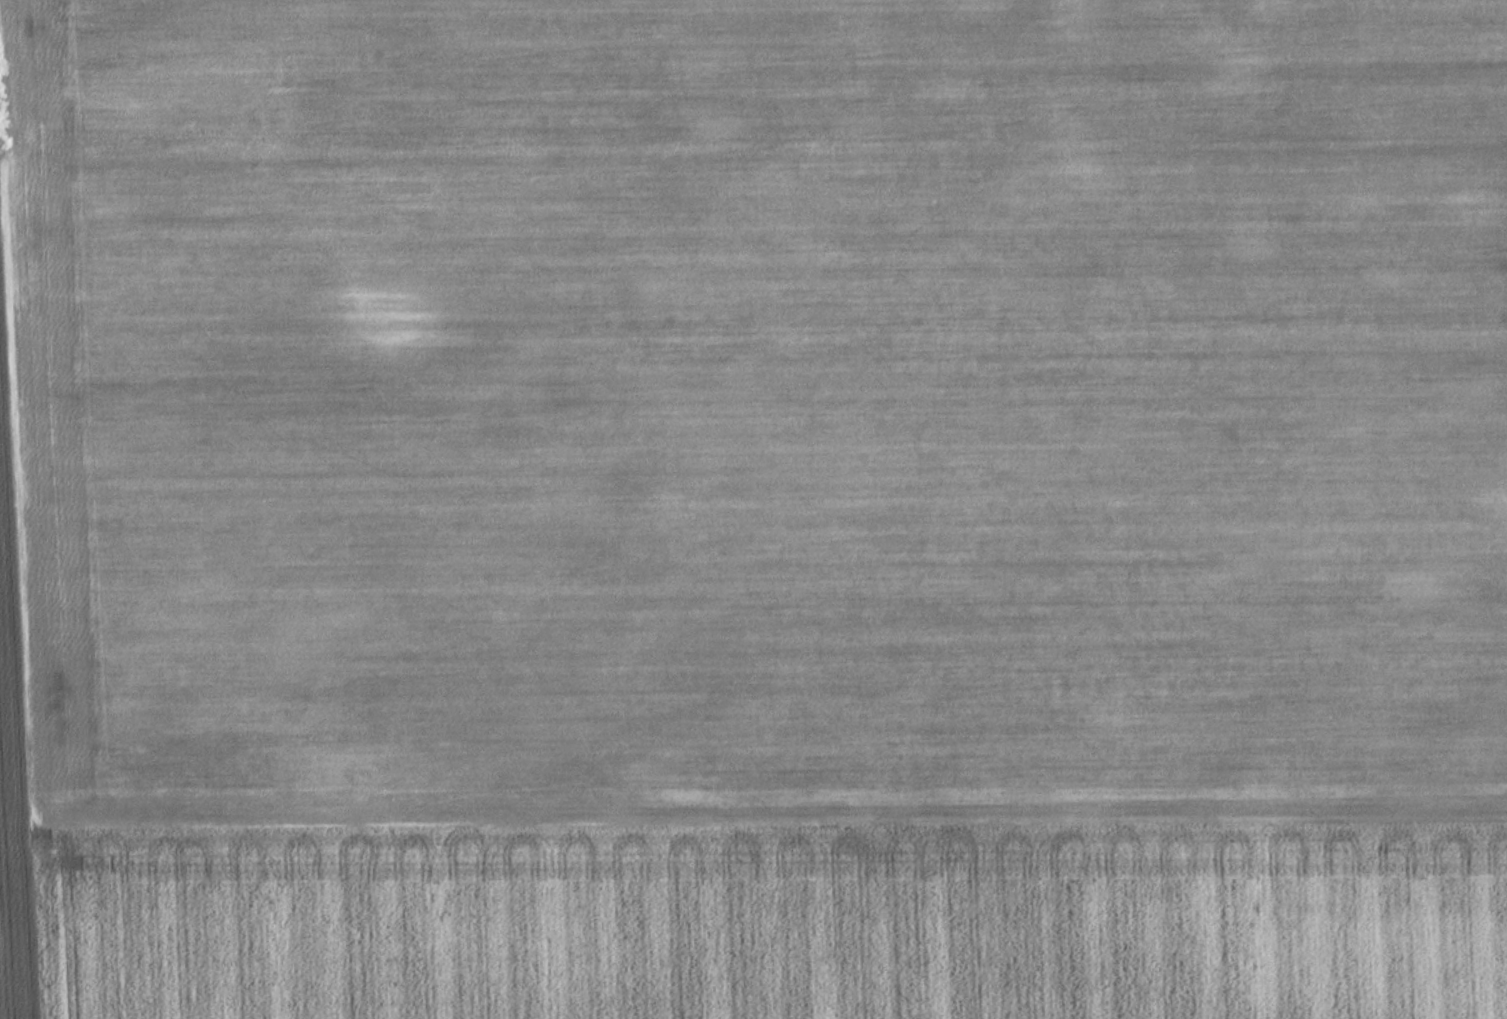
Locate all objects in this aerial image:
crop: (753, 509)

